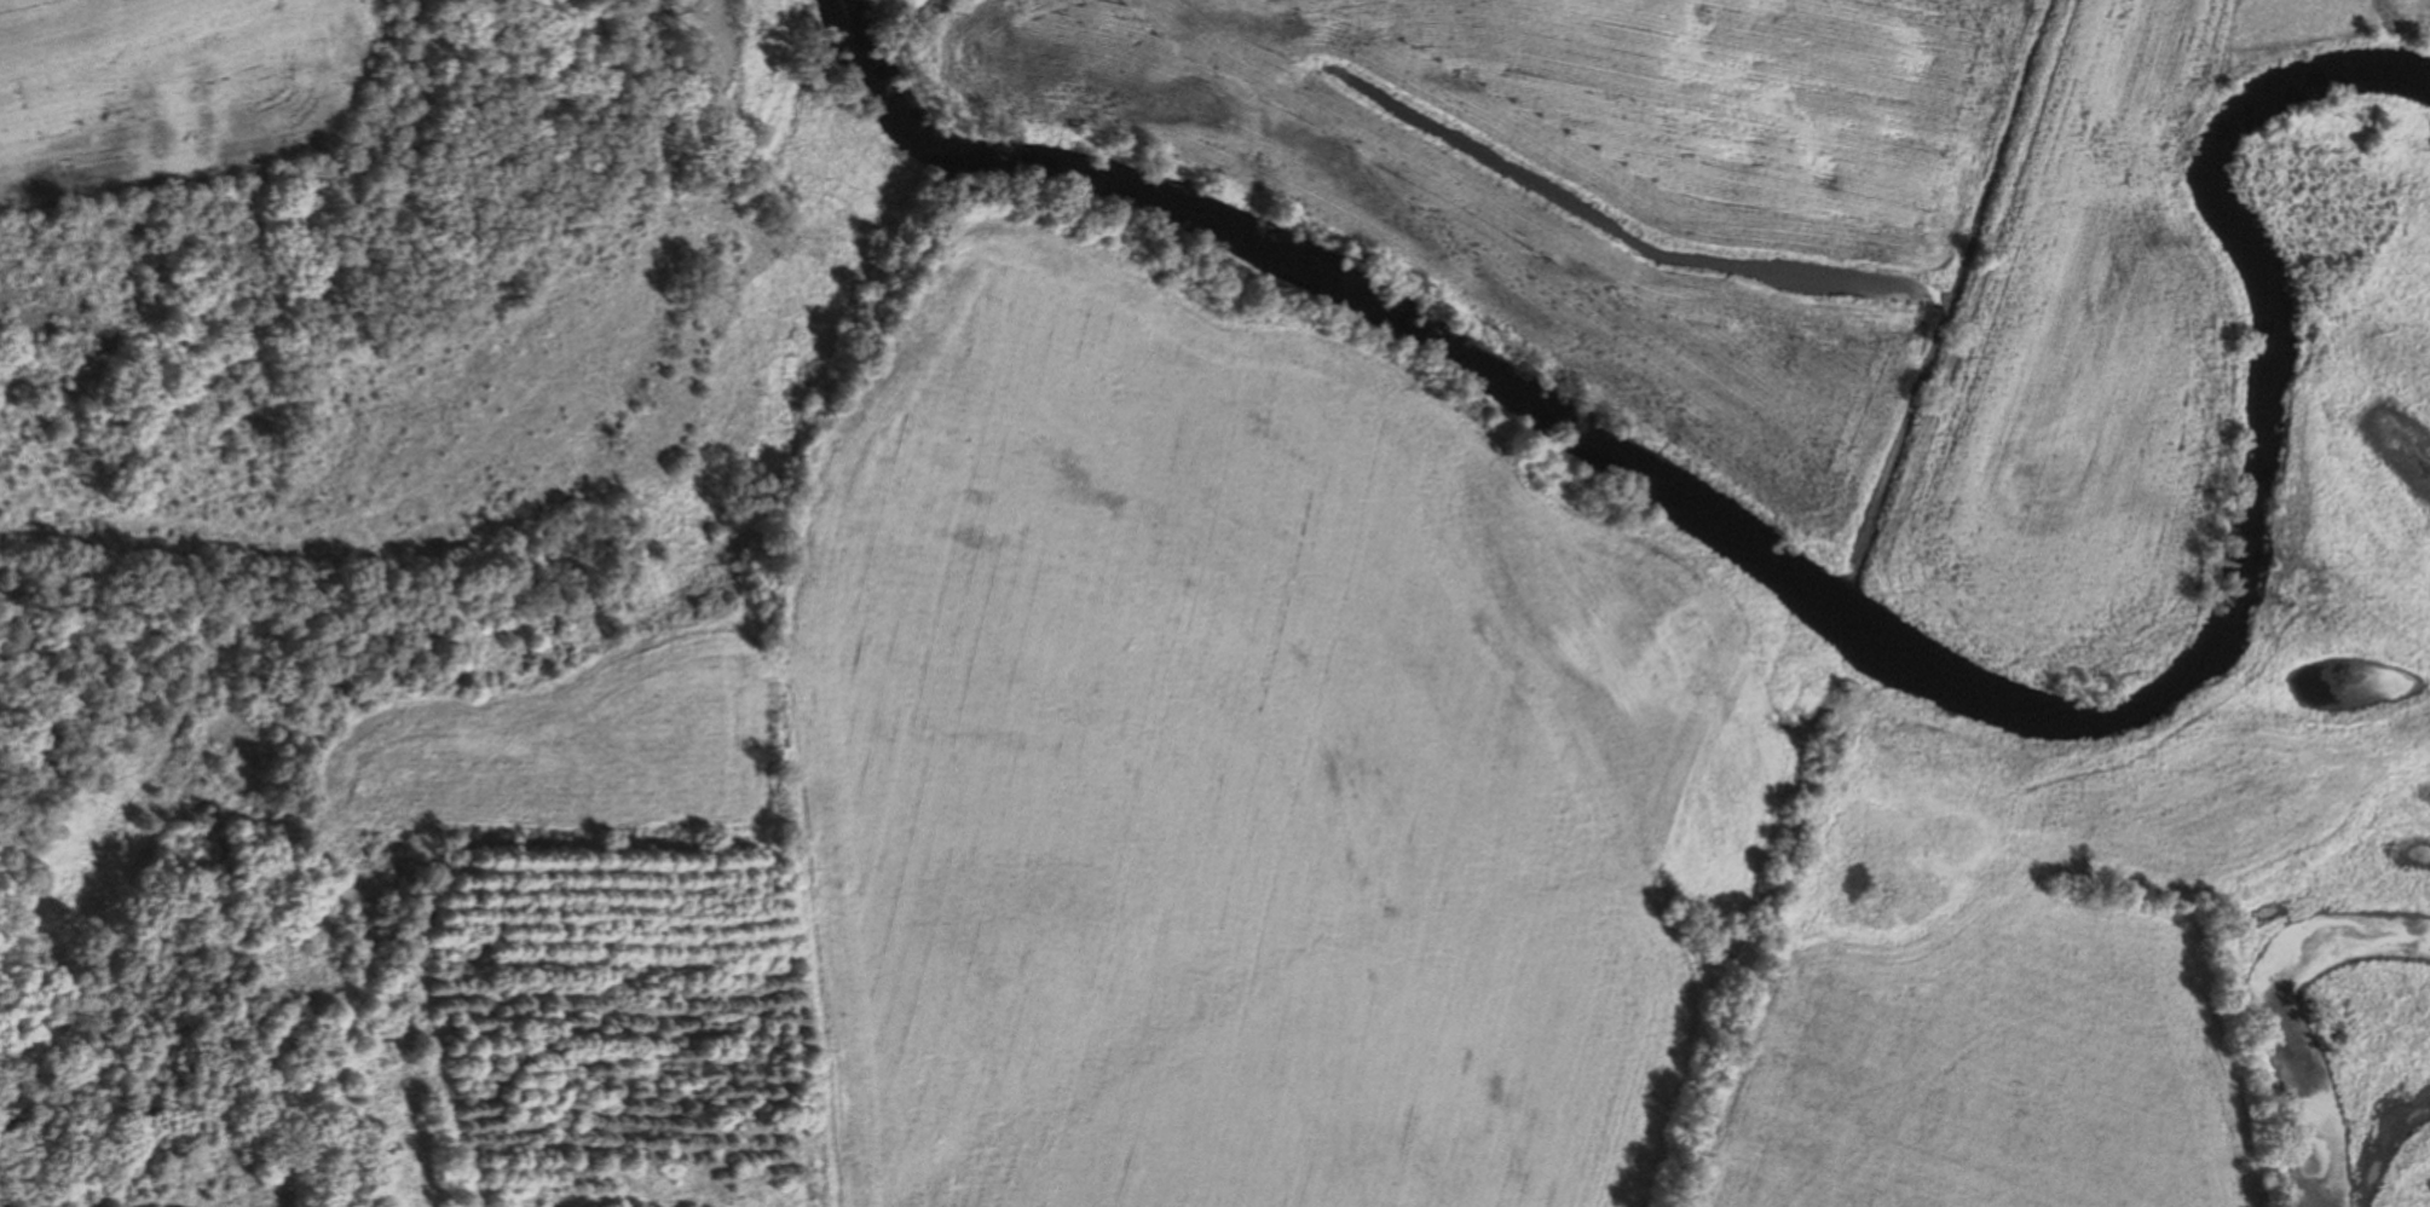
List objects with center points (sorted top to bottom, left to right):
river: (1796, 624)

